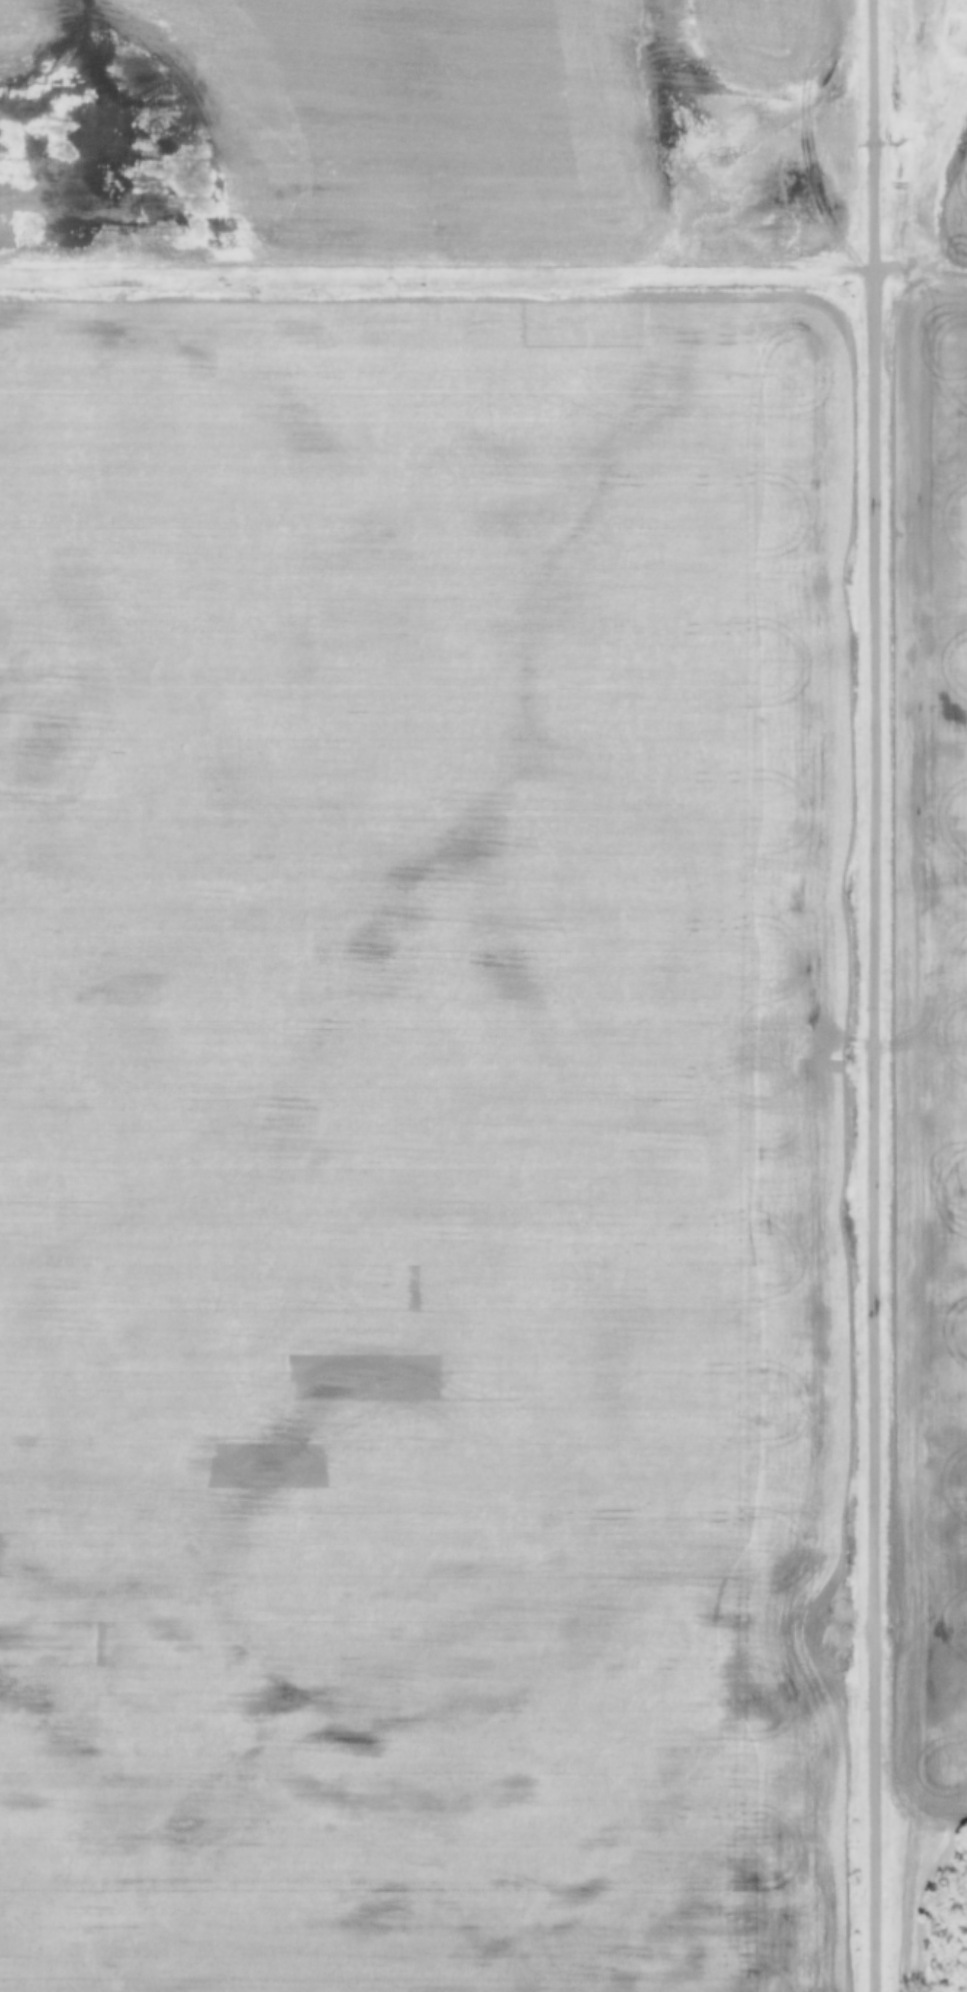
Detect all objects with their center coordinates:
road: (922, 278)
road: (438, 279)
road: (879, 995)

